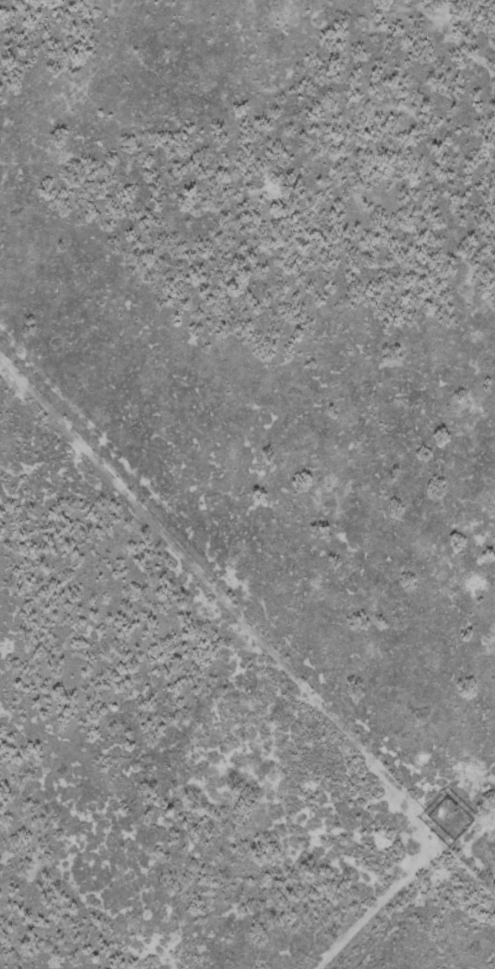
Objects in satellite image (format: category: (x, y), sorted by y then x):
road: (186, 821)

